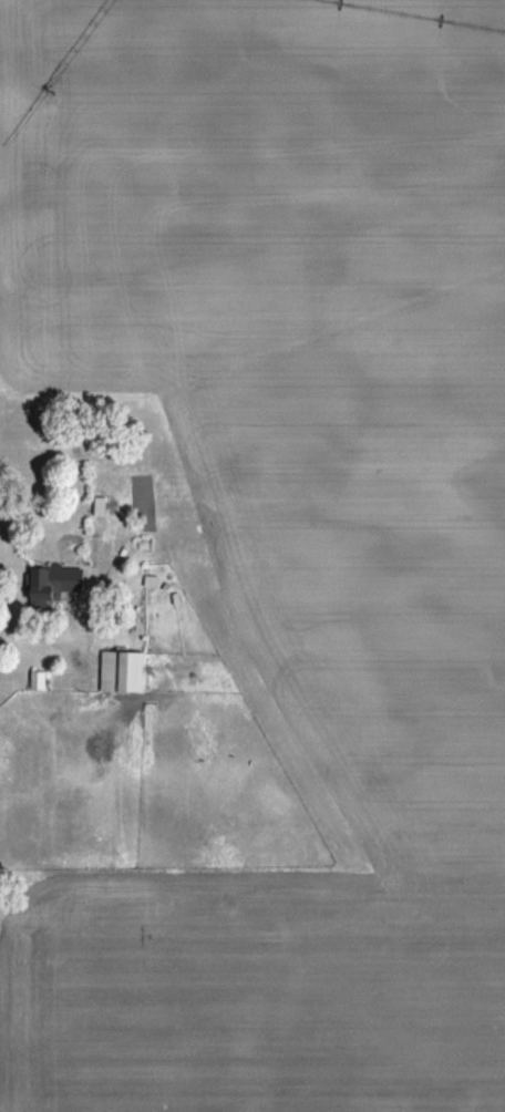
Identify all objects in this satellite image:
building: (58, 581)
road: (53, 635)
building: (124, 669)
building: (38, 678)

